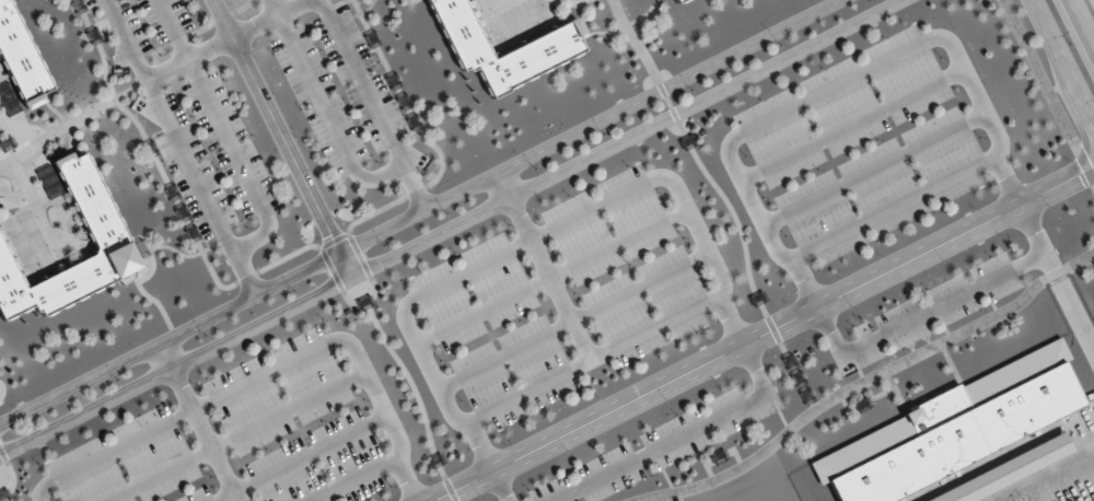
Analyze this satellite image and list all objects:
building: (674, 0)
building: (678, 1)
road: (1082, 22)
building: (548, 44)
building: (20, 58)
road: (1063, 61)
road: (836, 88)
building: (8, 98)
road: (287, 135)
building: (46, 180)
road: (504, 180)
road: (722, 196)
road: (896, 209)
road: (415, 210)
road: (444, 225)
building: (108, 243)
road: (764, 331)
road: (166, 353)
building: (948, 429)
building: (1005, 471)

